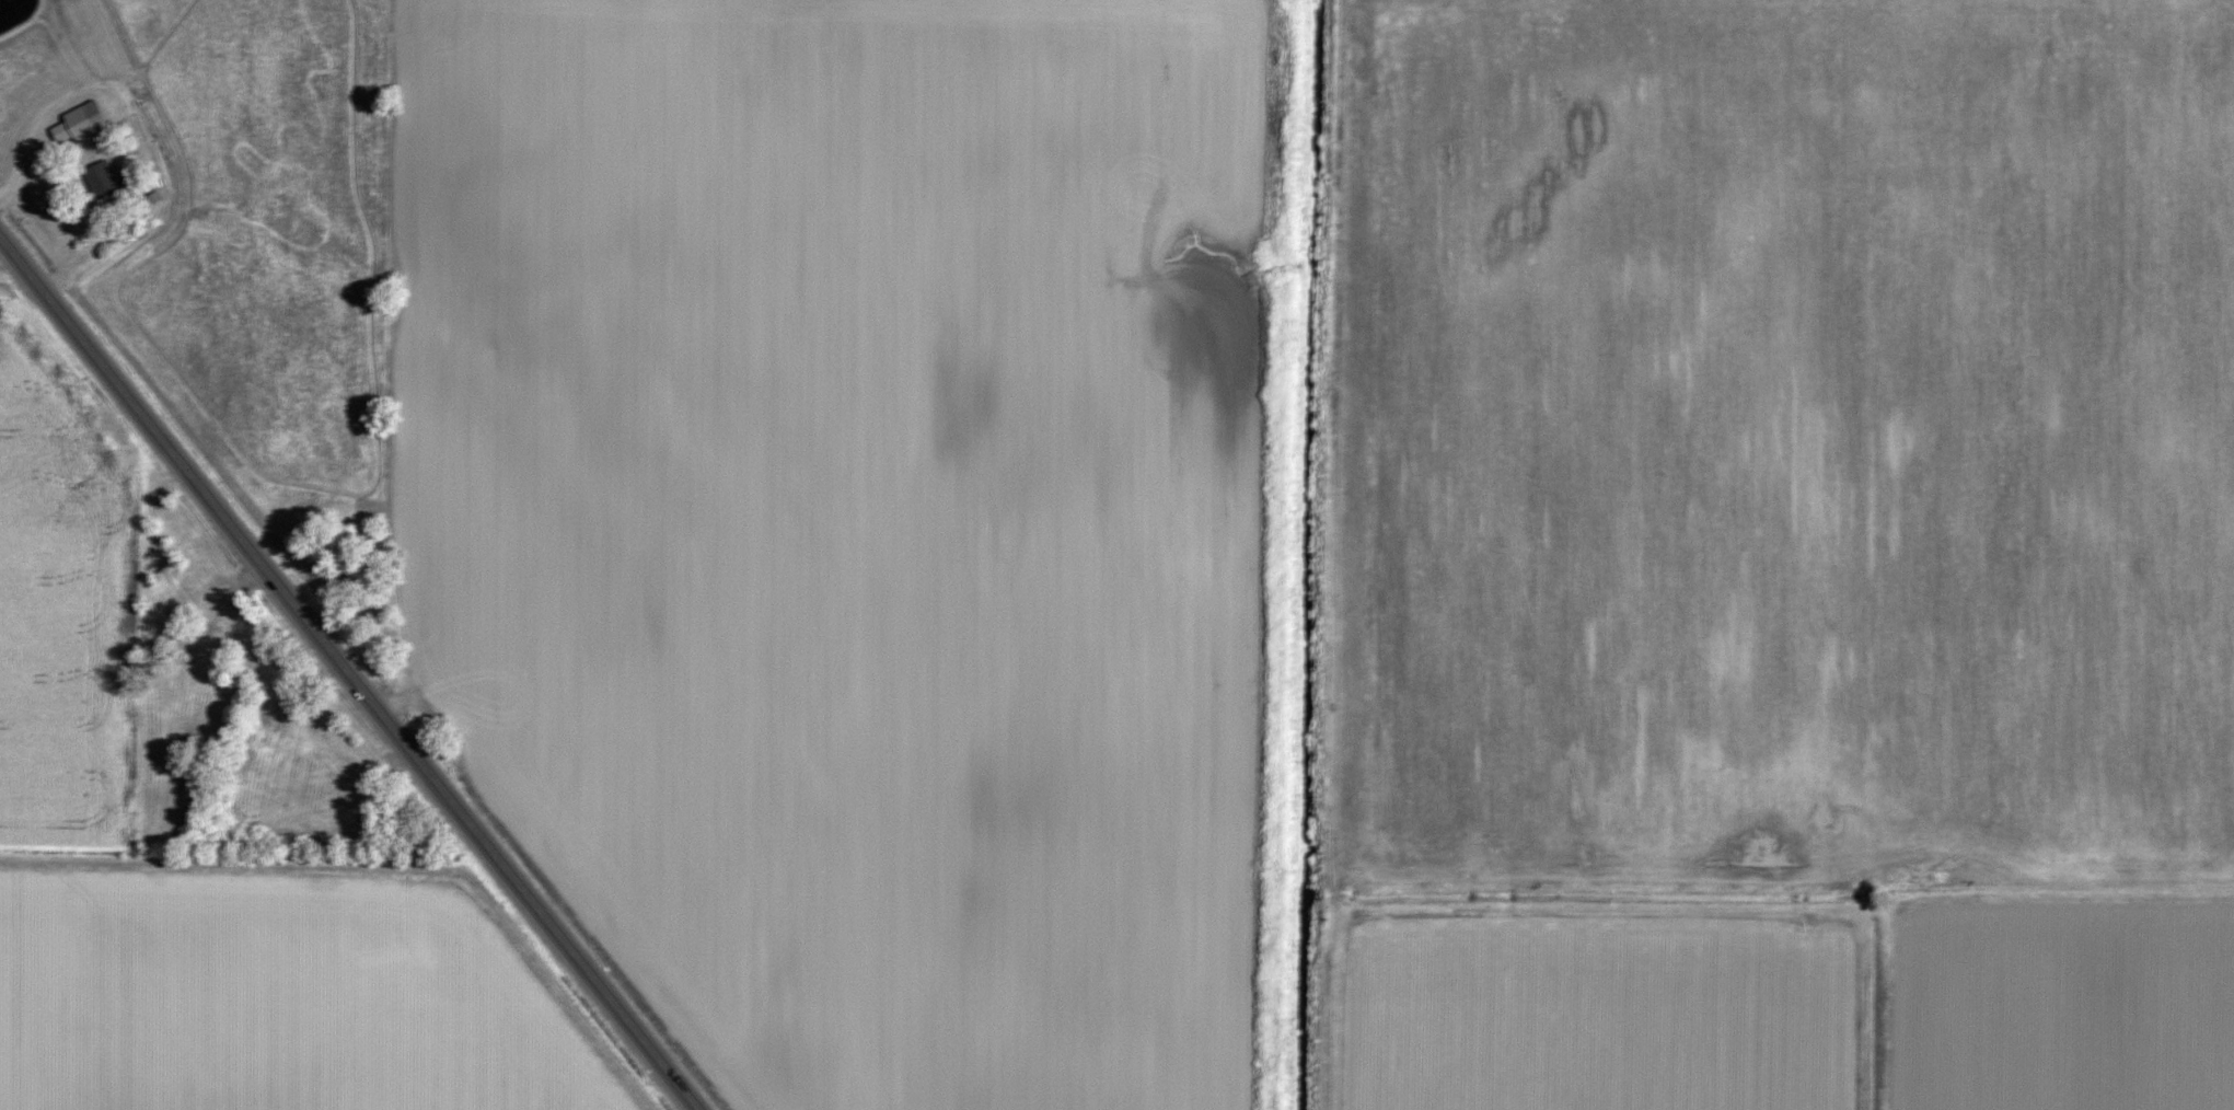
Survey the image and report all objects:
building: (79, 123)
road: (42, 132)
building: (103, 185)
road: (5, 254)
building: (363, 536)
building: (213, 634)
road: (349, 671)
building: (261, 738)
building: (310, 760)

